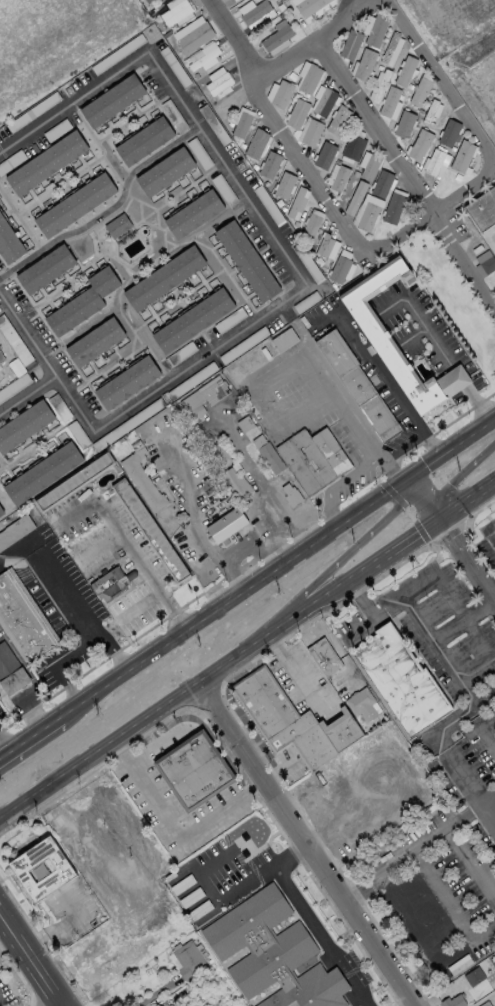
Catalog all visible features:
building: (232, 0)
building: (148, 1)
road: (353, 3)
building: (308, 6)
building: (174, 13)
building: (254, 13)
building: (375, 31)
building: (194, 38)
building: (275, 38)
road: (311, 43)
building: (349, 45)
road: (480, 47)
building: (388, 48)
building: (202, 59)
building: (364, 65)
building: (405, 71)
road: (442, 77)
building: (309, 79)
building: (484, 83)
building: (217, 84)
building: (381, 86)
building: (419, 92)
building: (281, 94)
building: (112, 100)
building: (324, 102)
building: (388, 102)
building: (429, 111)
building: (296, 113)
building: (338, 120)
building: (404, 124)
building: (241, 125)
road: (277, 125)
building: (311, 133)
building: (448, 133)
building: (144, 141)
building: (255, 144)
building: (419, 145)
building: (352, 147)
building: (324, 155)
building: (461, 156)
building: (434, 162)
building: (45, 163)
building: (269, 165)
building: (370, 167)
building: (165, 171)
road: (406, 172)
building: (338, 178)
building: (381, 184)
building: (284, 185)
building: (356, 199)
building: (295, 202)
building: (73, 205)
building: (392, 208)
road: (432, 211)
building: (484, 212)
building: (194, 214)
building: (367, 217)
building: (117, 225)
building: (310, 227)
road: (268, 228)
building: (8, 244)
building: (324, 245)
building: (247, 261)
building: (485, 262)
building: (44, 269)
building: (339, 269)
building: (164, 278)
building: (82, 302)
building: (193, 320)
road: (428, 332)
building: (375, 333)
road: (28, 338)
building: (93, 342)
building: (1, 358)
road: (459, 376)
building: (125, 382)
road: (390, 383)
building: (356, 386)
building: (203, 395)
road: (28, 399)
road: (345, 399)
road: (478, 404)
road: (264, 407)
building: (23, 425)
road: (405, 446)
building: (266, 455)
building: (311, 460)
building: (41, 474)
road: (453, 477)
road: (340, 480)
traffic signals: (401, 480)
building: (73, 482)
building: (142, 483)
road: (259, 483)
building: (234, 484)
road: (420, 500)
building: (1, 513)
road: (440, 518)
traffic signals: (439, 520)
building: (225, 526)
building: (149, 531)
road: (270, 538)
parking lot: (488, 543)
road: (125, 545)
road: (97, 546)
road: (235, 550)
road: (465, 559)
road: (327, 566)
building: (108, 583)
road: (246, 584)
road: (420, 587)
parking lot: (431, 590)
road: (493, 598)
road: (363, 599)
road: (493, 601)
road: (136, 603)
road: (389, 607)
road: (83, 611)
road: (462, 619)
road: (465, 619)
building: (23, 621)
parking lot: (346, 624)
road: (357, 627)
road: (440, 652)
parking lot: (476, 654)
parking lot: (429, 658)
road: (62, 663)
building: (328, 667)
building: (10, 672)
building: (403, 683)
road: (193, 687)
road: (27, 696)
building: (364, 707)
parking lot: (494, 708)
road: (458, 719)
building: (296, 724)
road: (485, 737)
road: (2, 747)
road: (47, 751)
parking lot: (467, 761)
building: (196, 773)
road: (470, 785)
road: (489, 799)
parking lot: (426, 824)
road: (174, 833)
road: (431, 837)
road: (306, 844)
parking lot: (225, 864)
road: (470, 864)
building: (41, 870)
building: (198, 880)
road: (361, 885)
parking lot: (445, 892)
road: (442, 895)
road: (215, 899)
road: (409, 916)
road: (310, 920)
road: (66, 924)
road: (467, 941)
parking lot: (481, 947)
building: (271, 954)
road: (31, 958)
building: (186, 960)
parking lot: (353, 969)
parking lot: (6, 993)
road: (153, 994)
building: (452, 1001)
building: (178, 1005)

